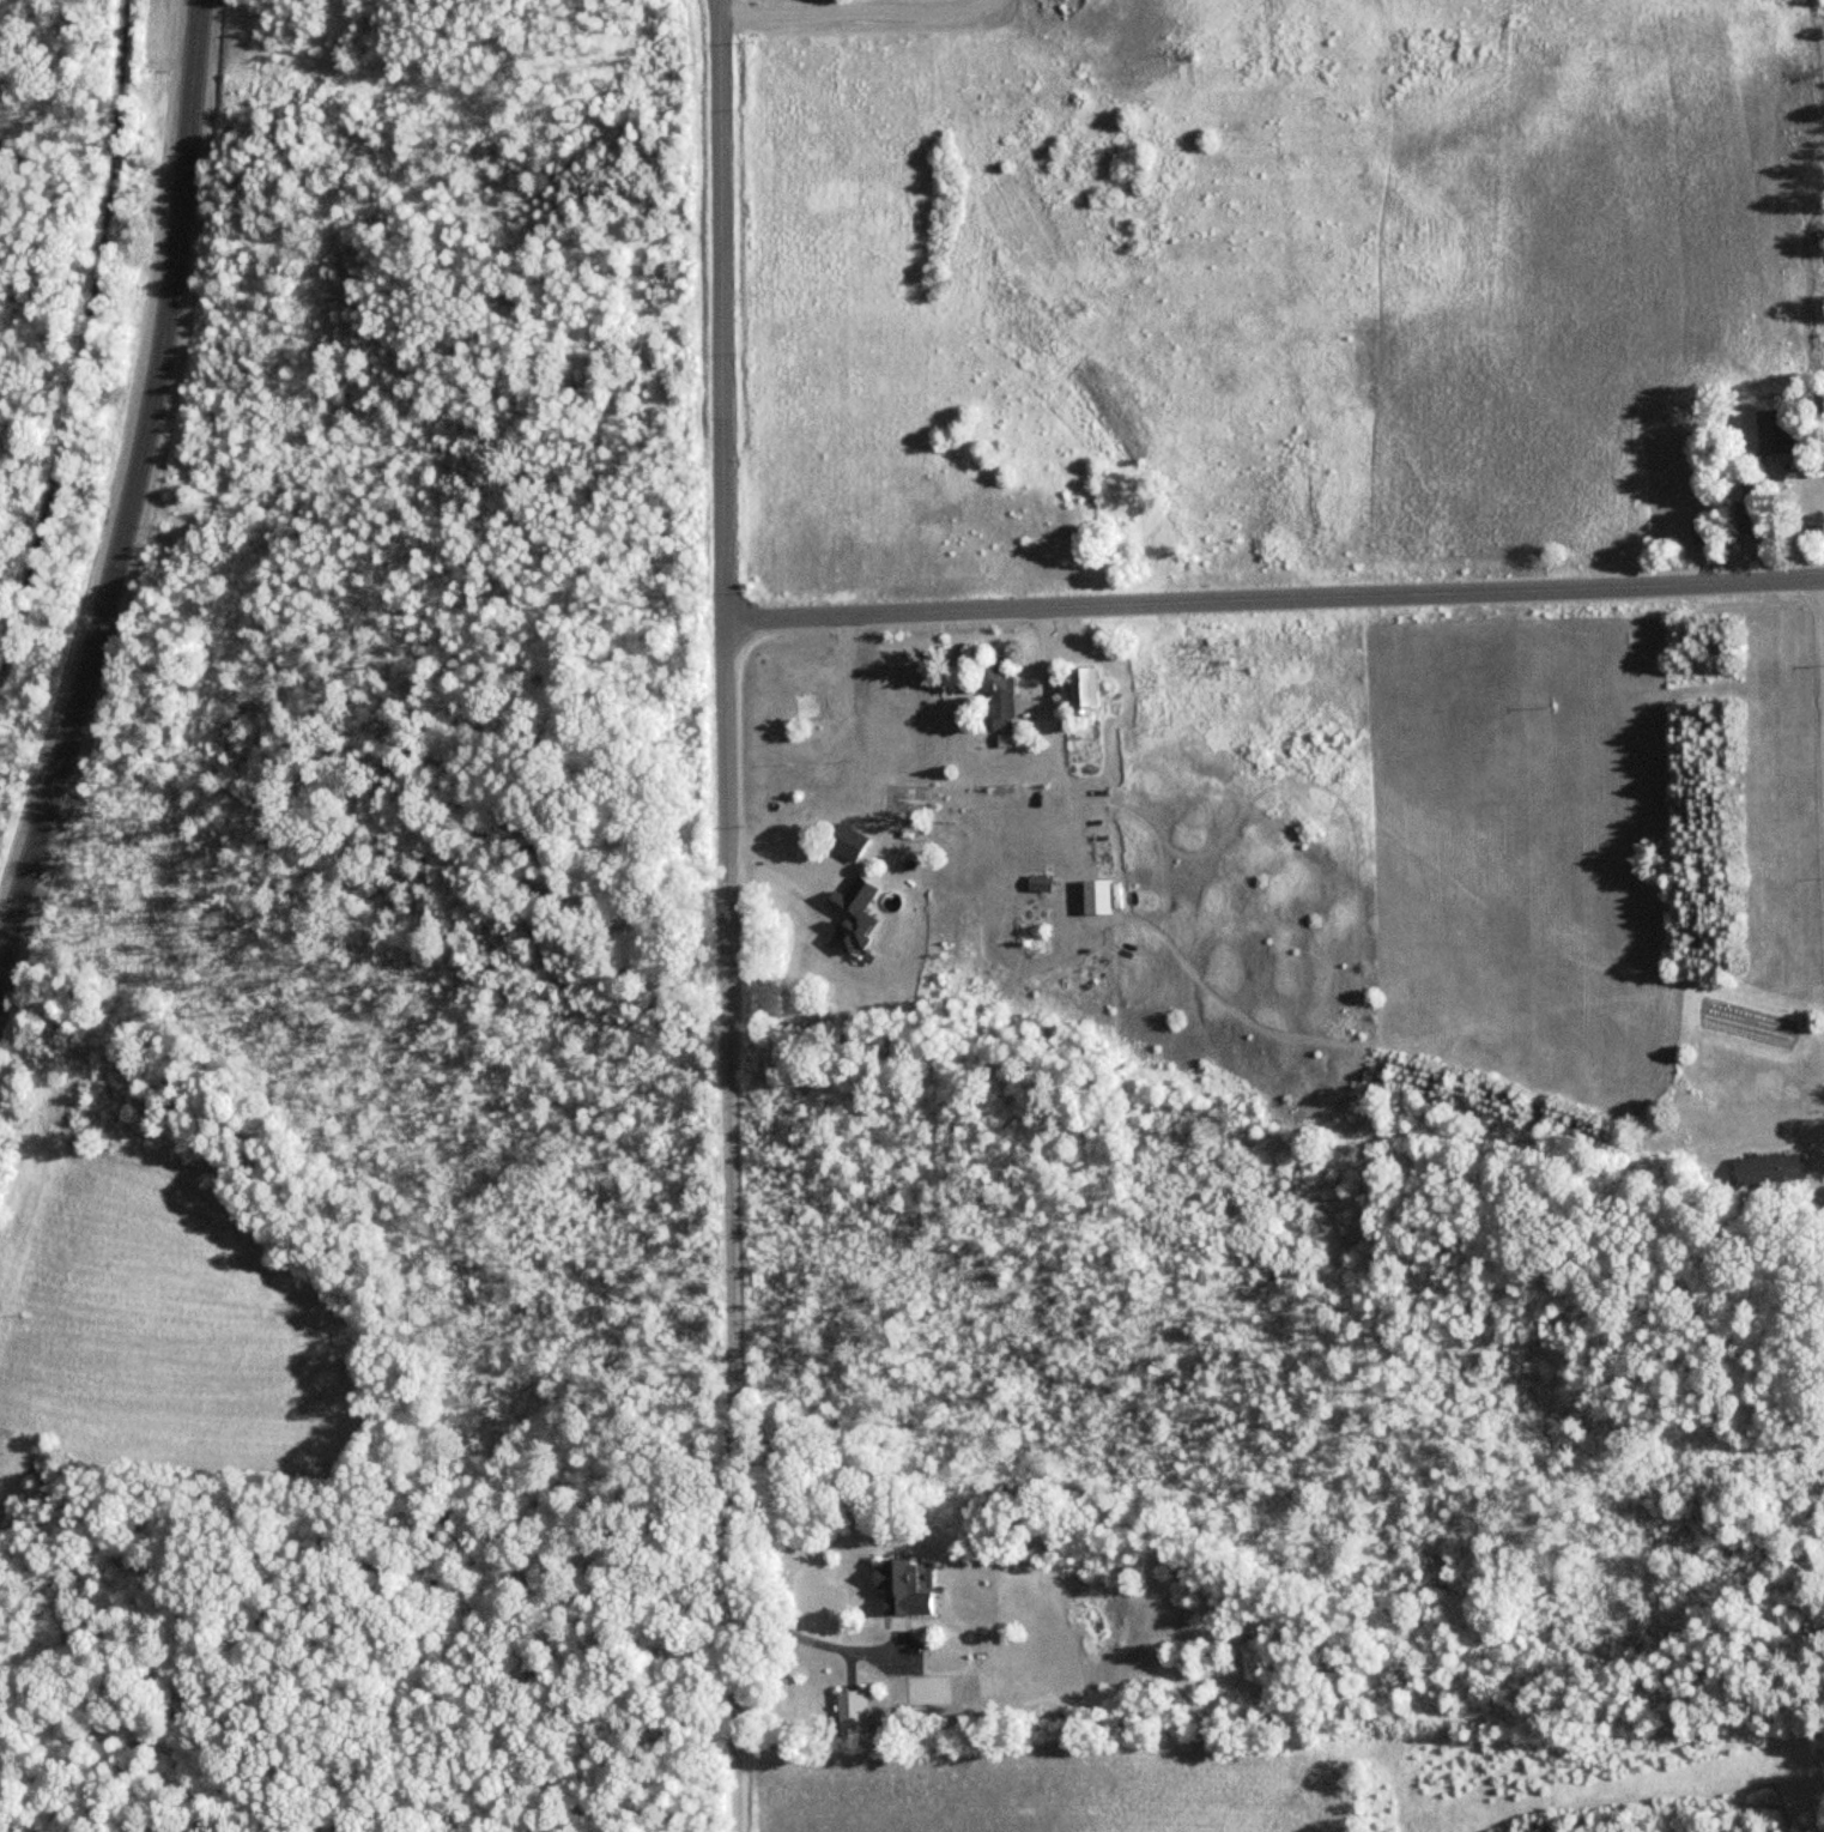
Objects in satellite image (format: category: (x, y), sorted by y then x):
road: (843, 8)
road: (171, 282)
road: (78, 333)
building: (1773, 433)
building: (1695, 527)
road: (1273, 600)
road: (1820, 681)
building: (1078, 688)
building: (992, 691)
building: (807, 706)
road: (59, 758)
building: (852, 842)
building: (1036, 883)
building: (1092, 897)
road: (721, 915)
building: (848, 917)
building: (1767, 1169)
building: (898, 1588)
road: (814, 1645)
building: (849, 1710)

